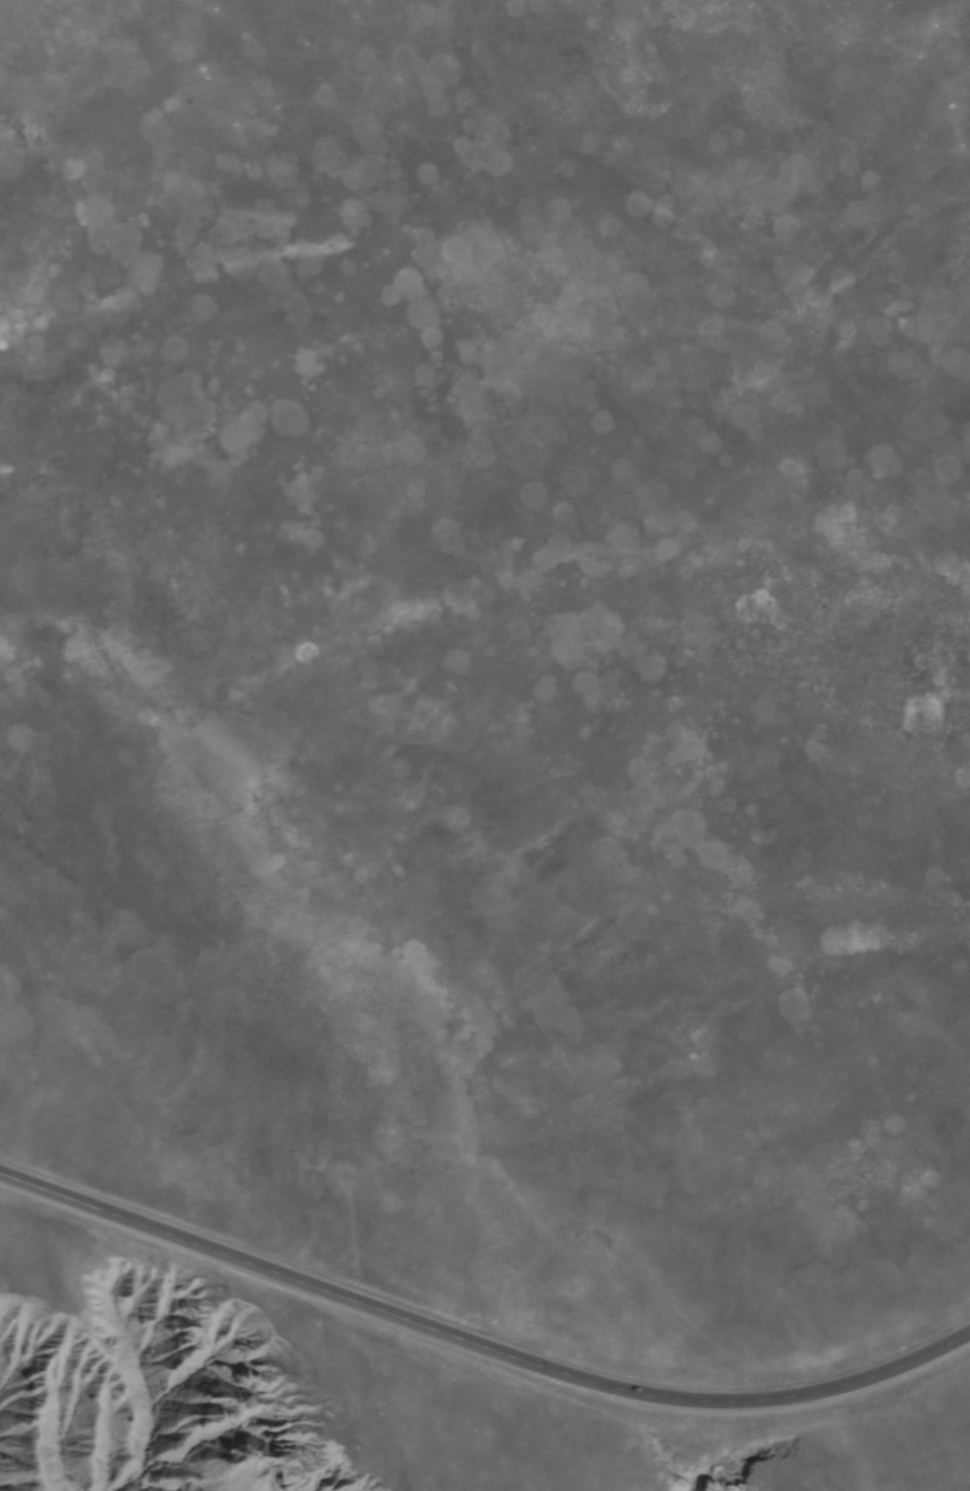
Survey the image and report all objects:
road: (480, 1346)

